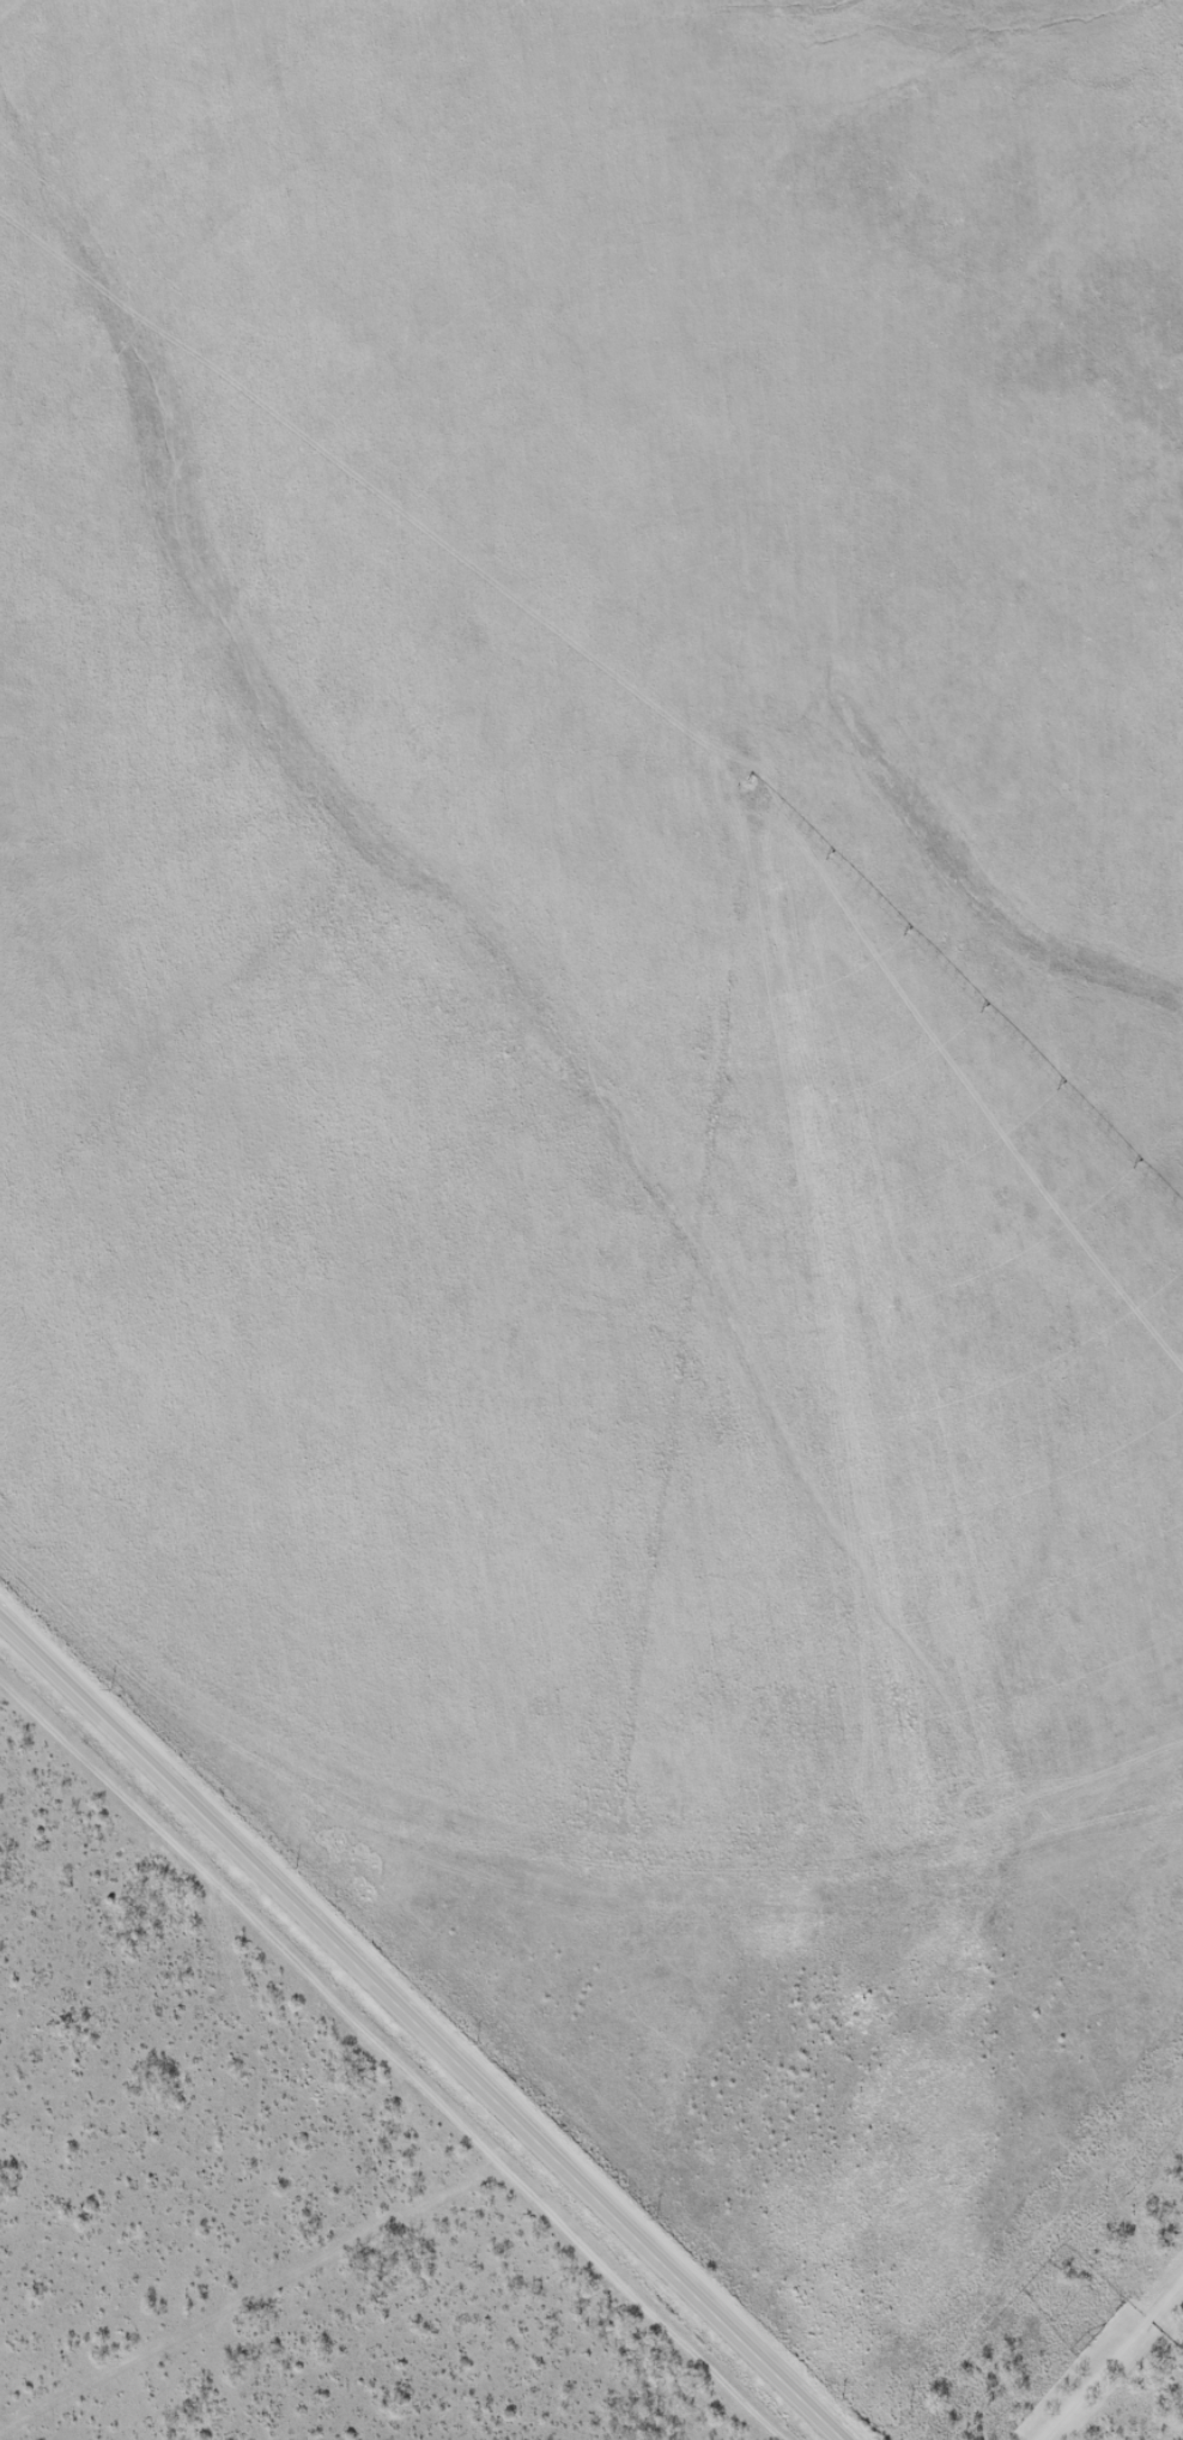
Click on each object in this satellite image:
road: (419, 2034)
road: (1149, 2406)

